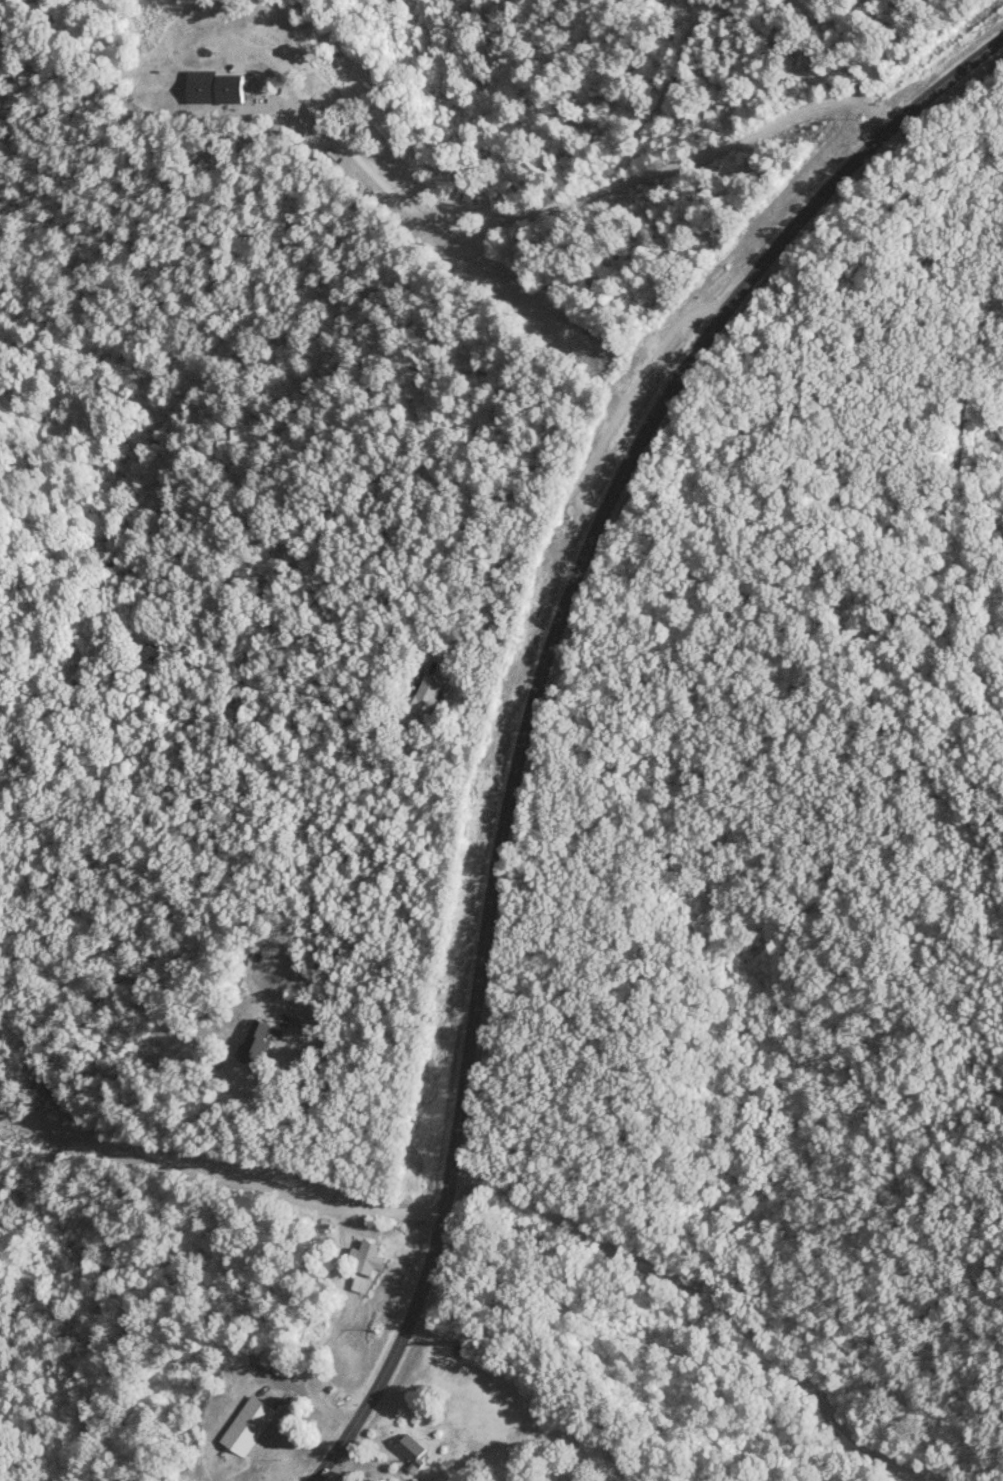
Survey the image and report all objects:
road: (532, 207)
road: (583, 480)
building: (426, 695)
road: (533, 696)
building: (255, 1042)
road: (328, 1108)
road: (472, 1170)
road: (217, 1175)
building: (363, 1257)
building: (359, 1283)
road: (748, 1324)
road: (331, 1331)
building: (246, 1425)

